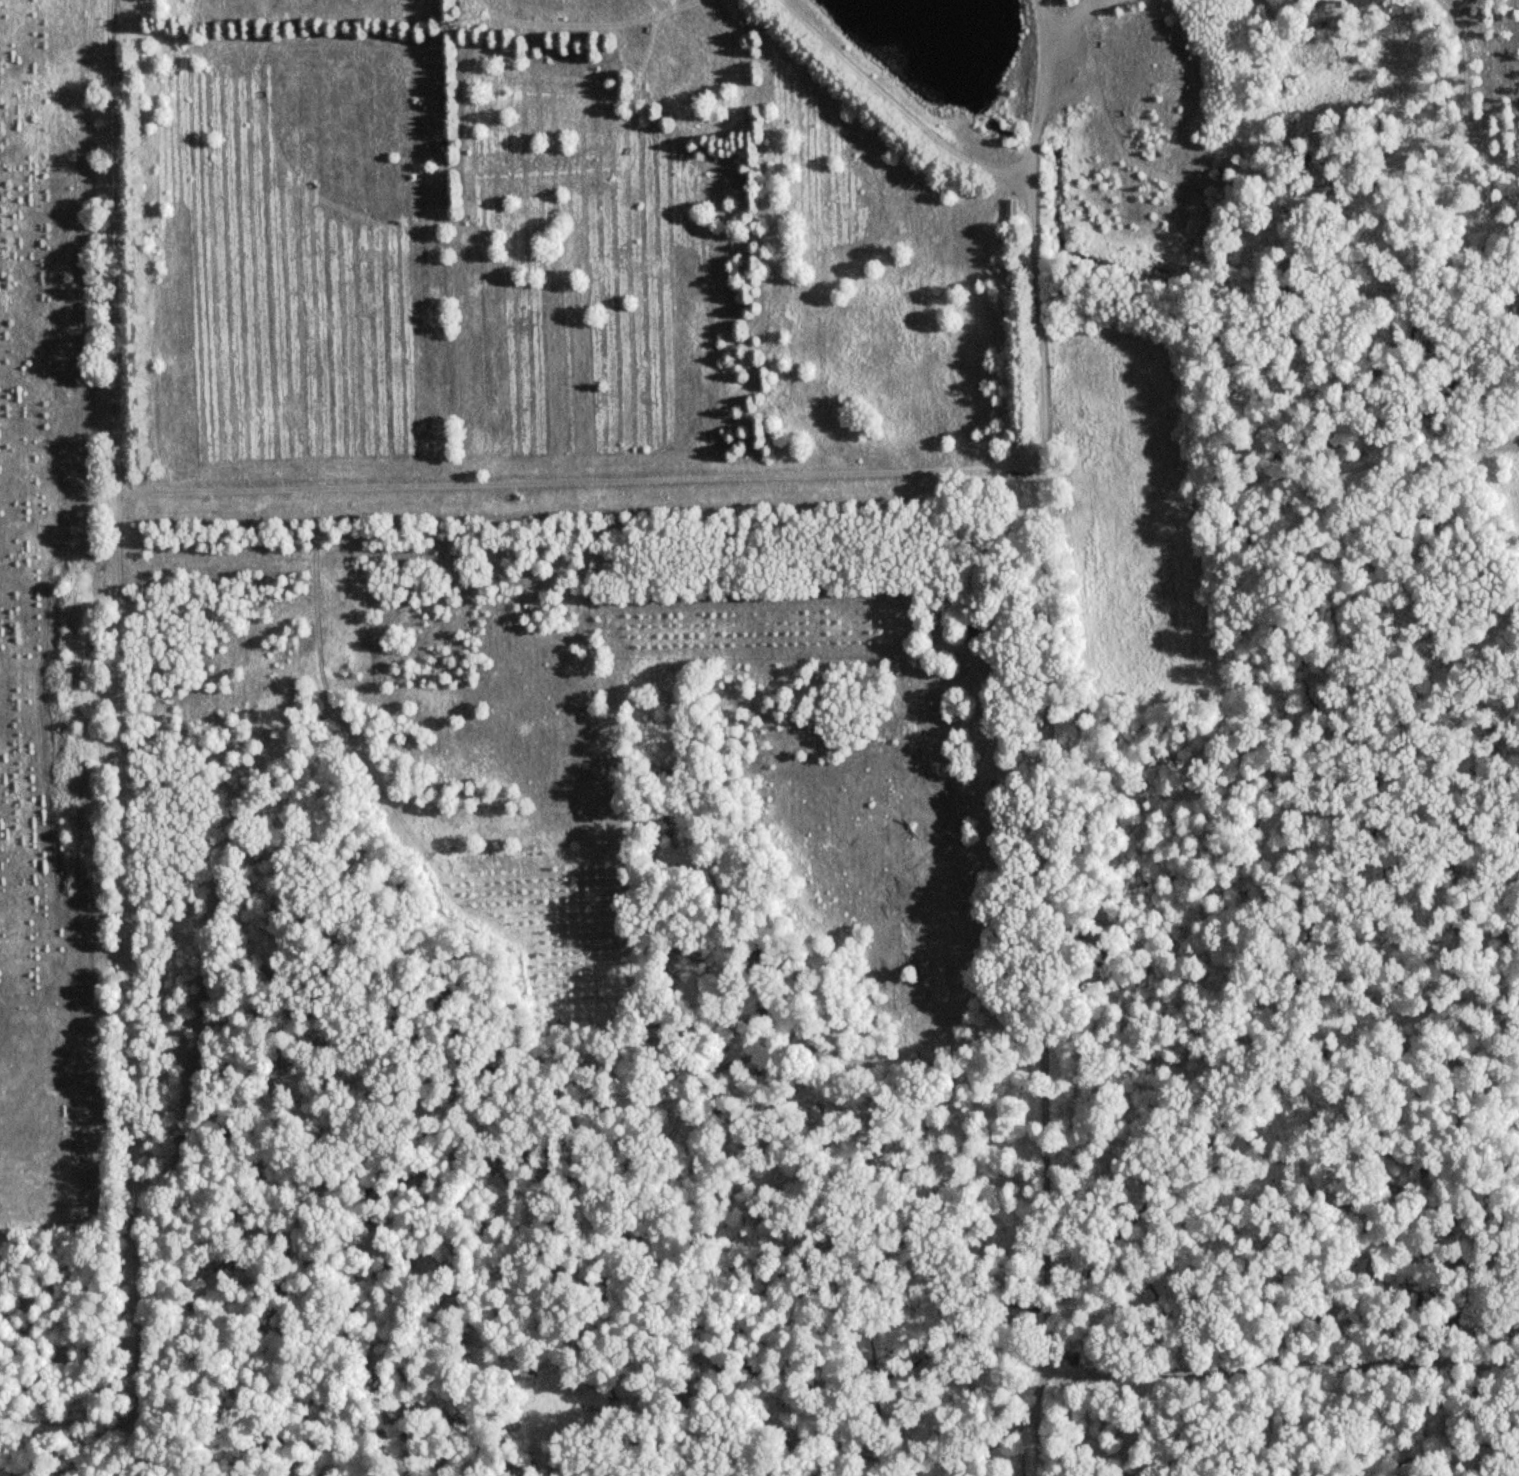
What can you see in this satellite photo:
building: (987, 627)

